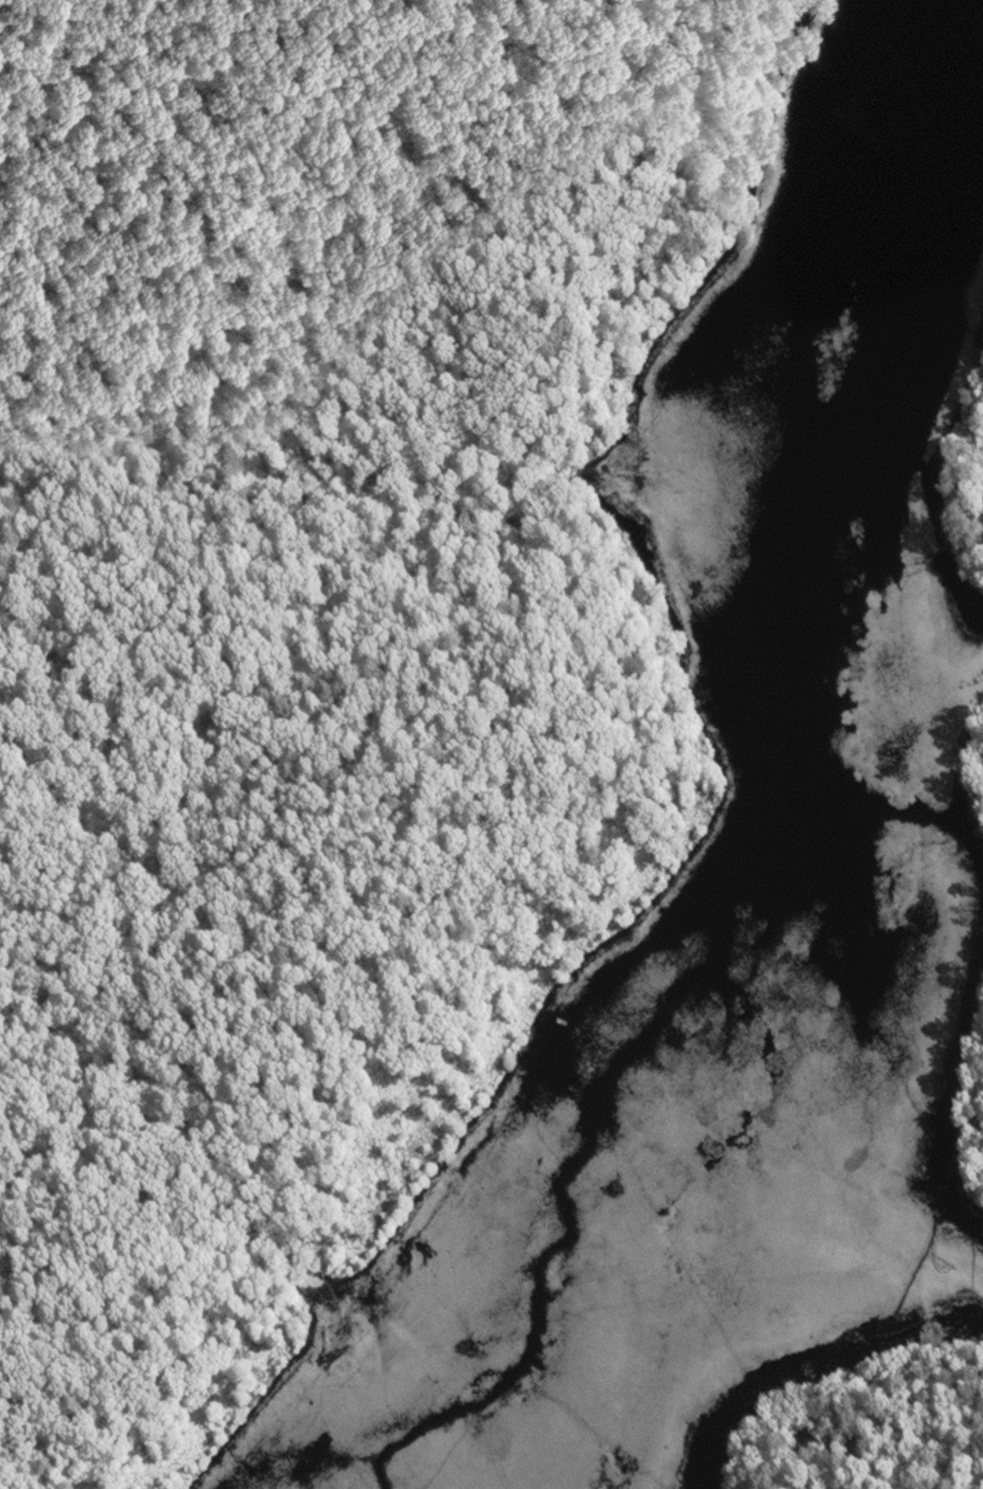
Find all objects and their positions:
road: (553, 239)
road: (266, 282)
road: (244, 742)

